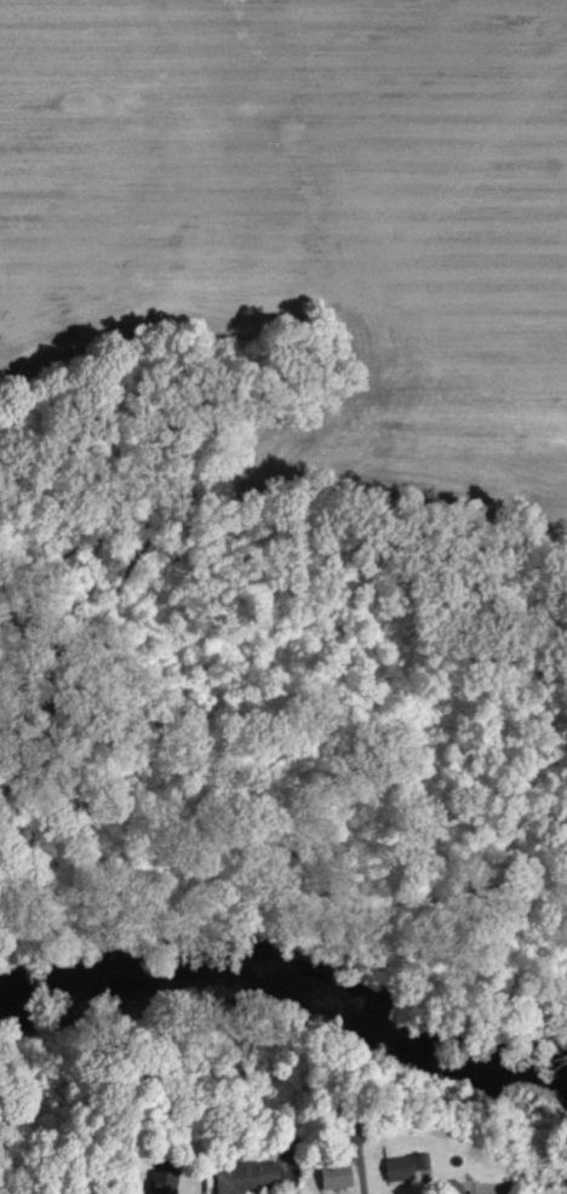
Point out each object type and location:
river: (294, 978)
building: (407, 1166)
building: (337, 1176)
building: (245, 1177)
building: (161, 1183)

